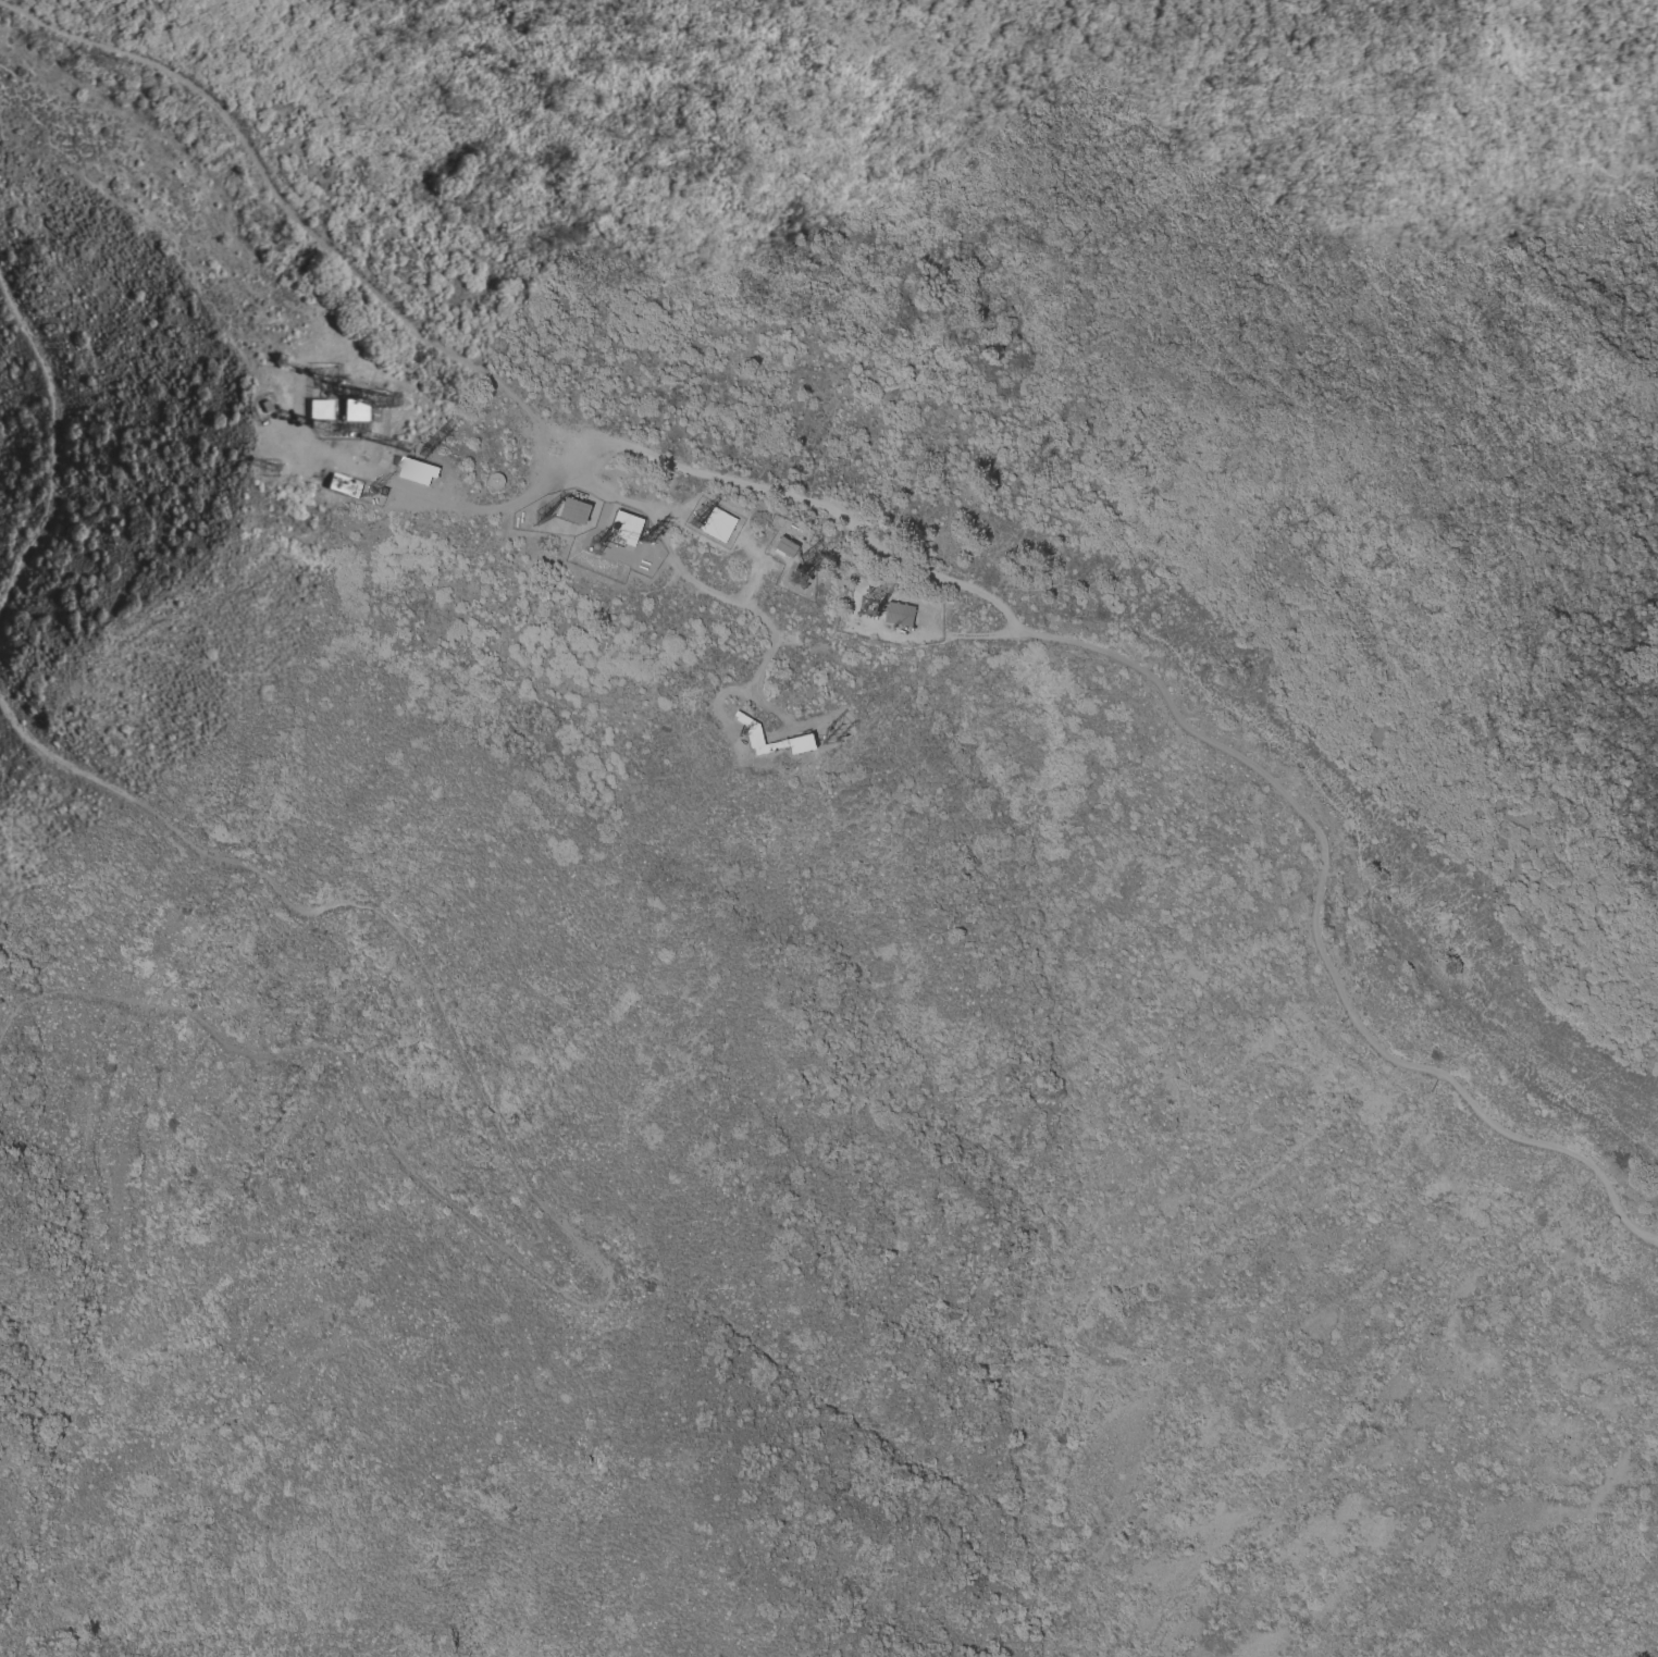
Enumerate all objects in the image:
road: (288, 199)
road: (166, 243)
building: (265, 405)
building: (319, 408)
building: (354, 415)
road: (51, 438)
helipad: (553, 450)
building: (418, 471)
building: (494, 480)
building: (343, 485)
road: (435, 497)
building: (572, 509)
building: (717, 523)
building: (626, 527)
building: (784, 547)
road: (760, 570)
building: (896, 613)
road: (932, 629)
road: (780, 632)
road: (716, 698)
building: (756, 731)
road: (1209, 735)
road: (569, 1233)

